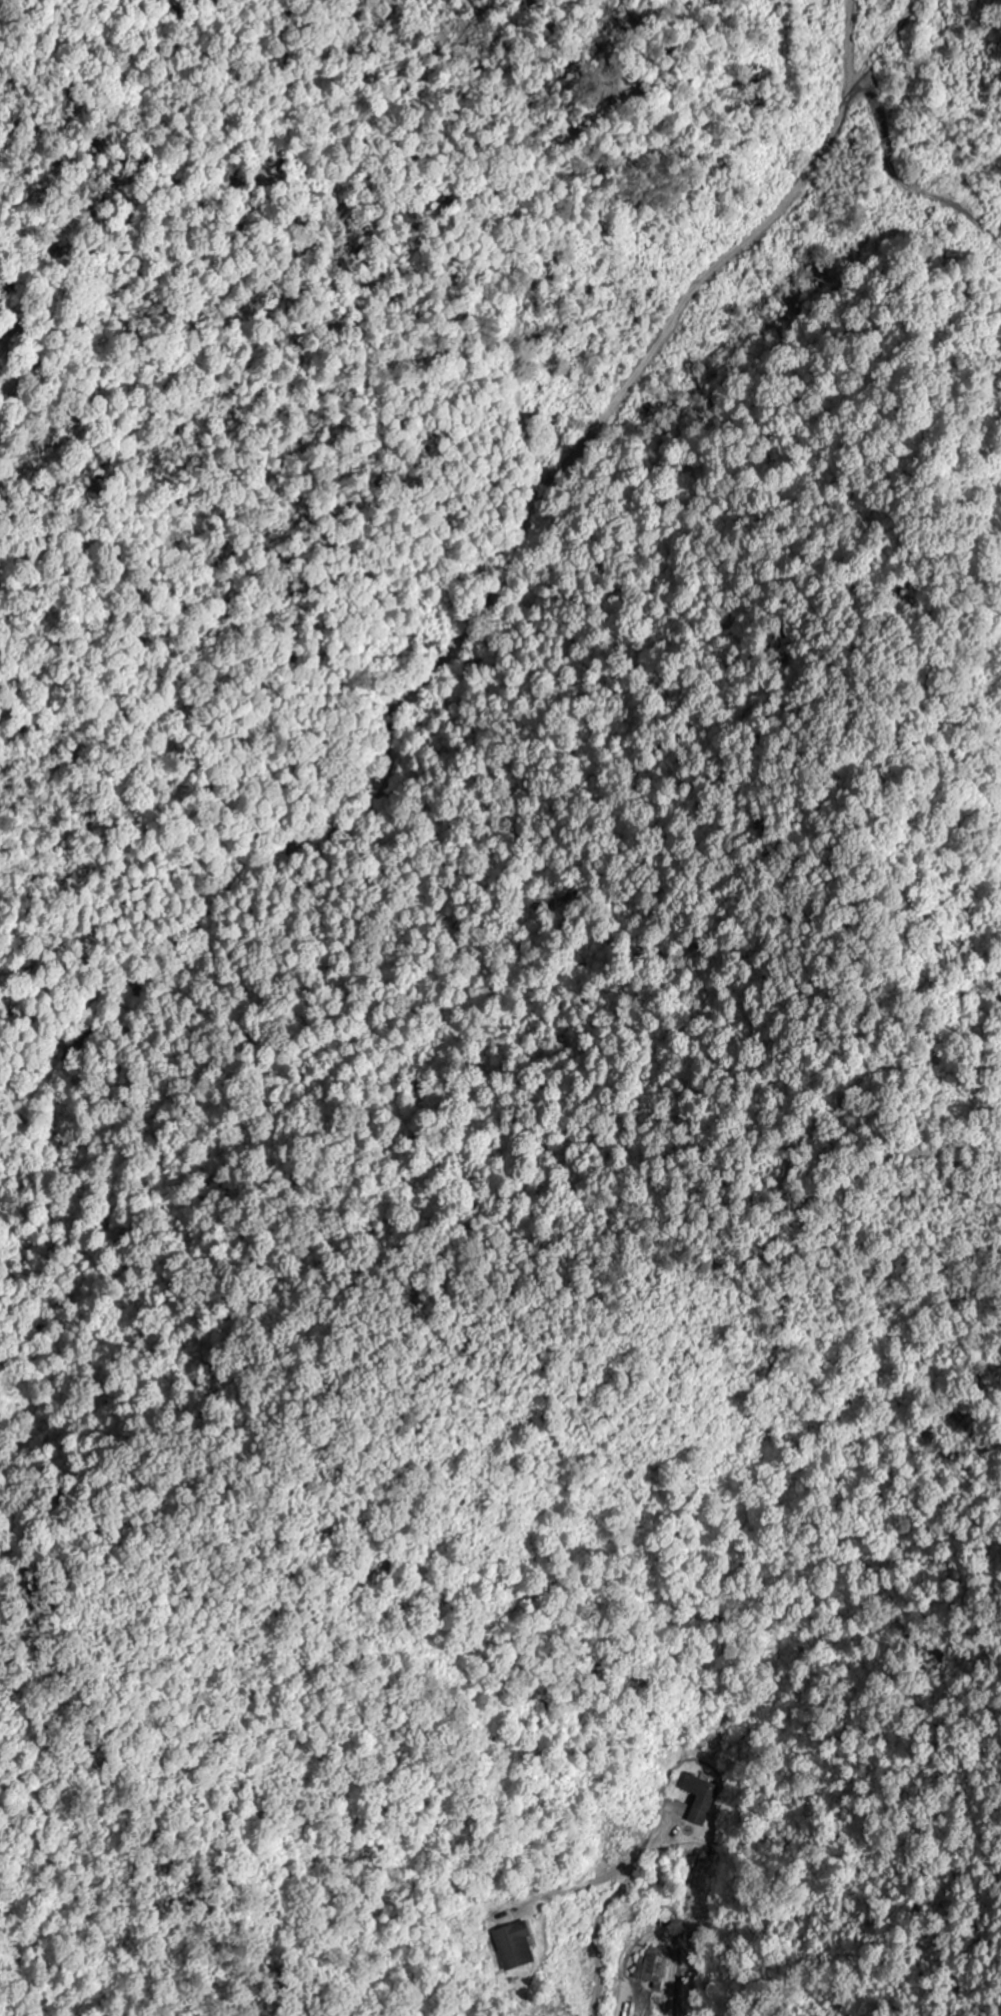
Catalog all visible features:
building: (699, 1799)
building: (513, 1946)
building: (653, 1966)
road: (601, 2015)

